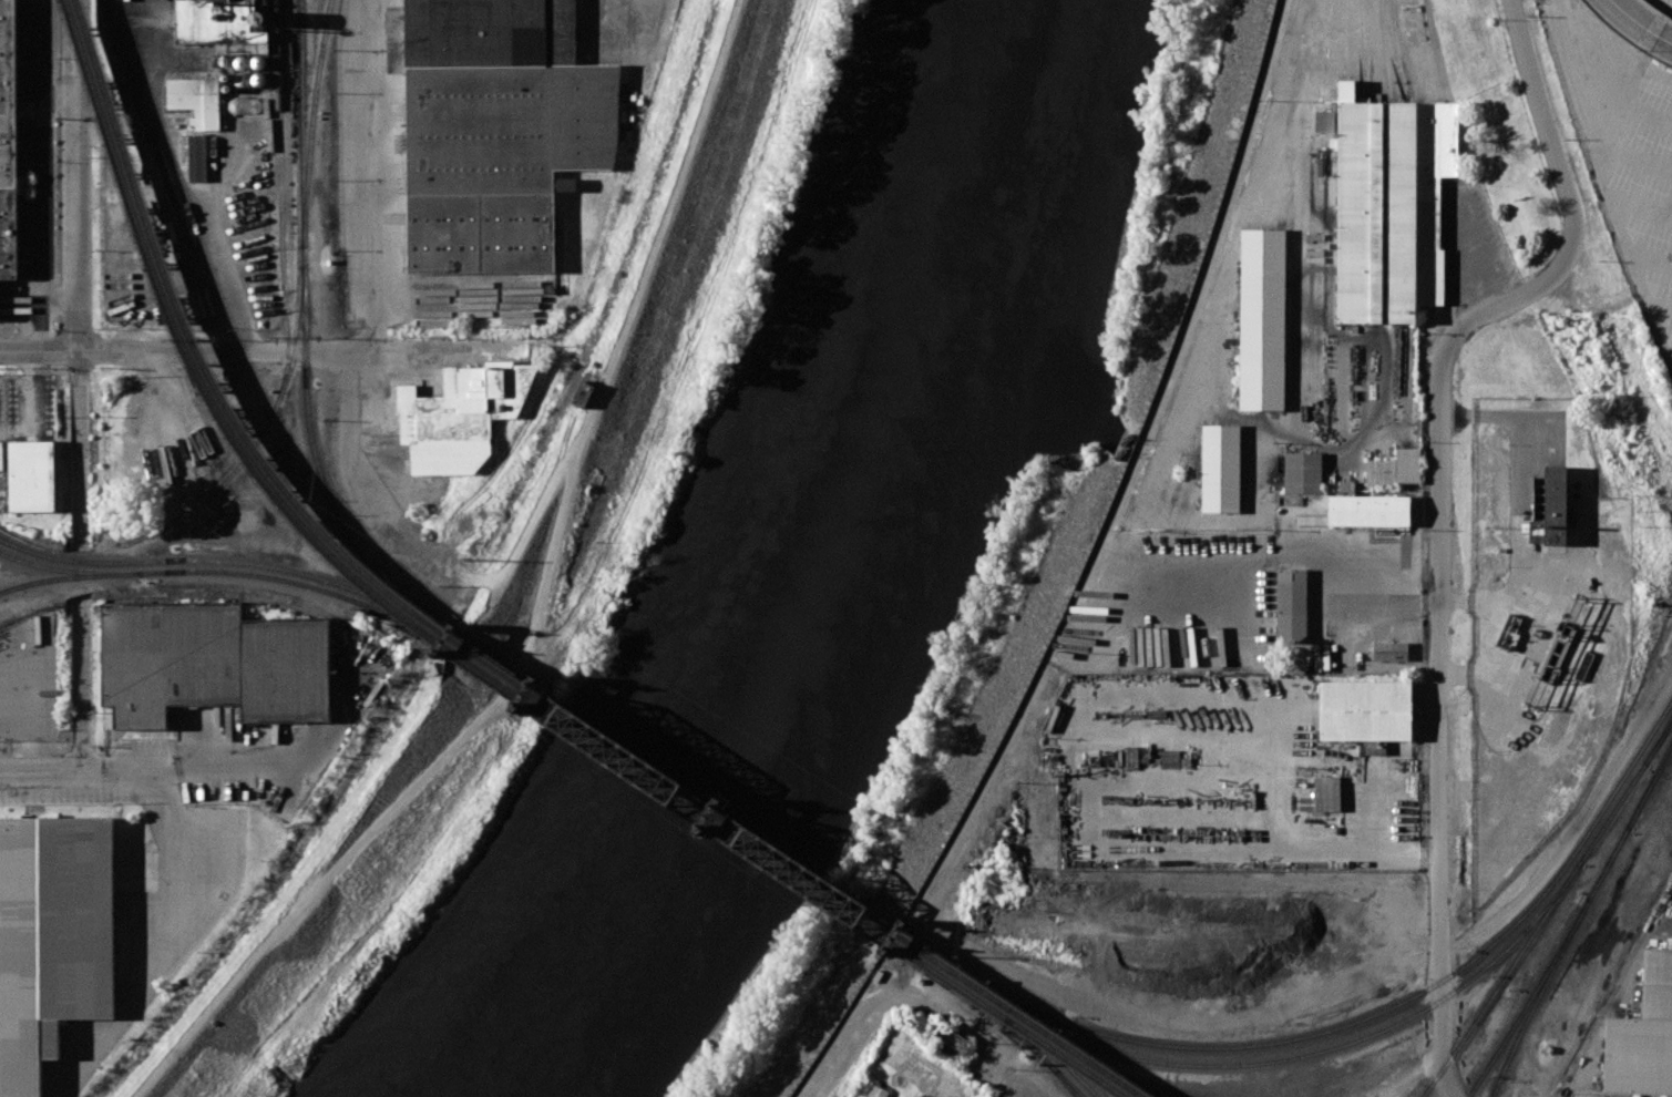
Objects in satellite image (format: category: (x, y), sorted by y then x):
road: (1543, 1)
parking lot: (1666, 3)
road: (1627, 16)
building: (1413, 23)
building: (490, 33)
road: (1555, 34)
road: (1660, 38)
road: (1642, 74)
road: (1618, 119)
railway: (312, 121)
building: (507, 127)
building: (7, 147)
parking lot: (1622, 148)
road: (1639, 160)
road: (375, 174)
road: (186, 194)
railway: (281, 204)
building: (1392, 207)
road: (1638, 207)
building: (515, 234)
building: (441, 235)
road: (1471, 257)
road: (1649, 259)
road: (1635, 275)
road: (79, 276)
building: (8, 306)
road: (1660, 308)
building: (1262, 319)
railway: (306, 339)
road: (229, 351)
road: (1670, 357)
building: (462, 417)
railway: (260, 435)
building: (1407, 465)
building: (1221, 468)
building: (1379, 472)
building: (1303, 473)
building: (30, 474)
building: (1346, 488)
building: (1550, 508)
road: (1440, 509)
building: (1370, 510)
railway: (68, 560)
railway: (68, 570)
railway: (365, 570)
building: (1485, 570)
railway: (300, 573)
railway: (357, 573)
river: (801, 576)
railway: (69, 577)
railway: (297, 582)
building: (1291, 605)
road: (552, 609)
building: (1389, 650)
building: (213, 663)
road: (81, 686)
building: (1365, 710)
railway: (1658, 741)
railway: (1656, 744)
building: (1374, 748)
road: (192, 770)
road: (41, 775)
railway: (1649, 785)
railway: (671, 787)
railway: (1649, 788)
railway: (667, 793)
building: (1326, 793)
railway: (1612, 816)
road: (1573, 826)
road: (1304, 852)
railway: (1607, 865)
building: (52, 939)
railway: (902, 941)
railway: (909, 954)
railway: (1504, 982)
building: (1656, 984)
road: (1615, 994)
railway: (1537, 997)
road: (922, 998)
railway: (1529, 1001)
railway: (1007, 1015)
railway: (1019, 1015)
railway: (1007, 1021)
railway: (1352, 1023)
railway: (1008, 1027)
building: (950, 1043)
railway: (1552, 1048)
building: (1639, 1056)
railway: (1276, 1060)
railway: (1057, 1074)
road: (1413, 1076)
building: (878, 1090)
road: (1582, 1094)

